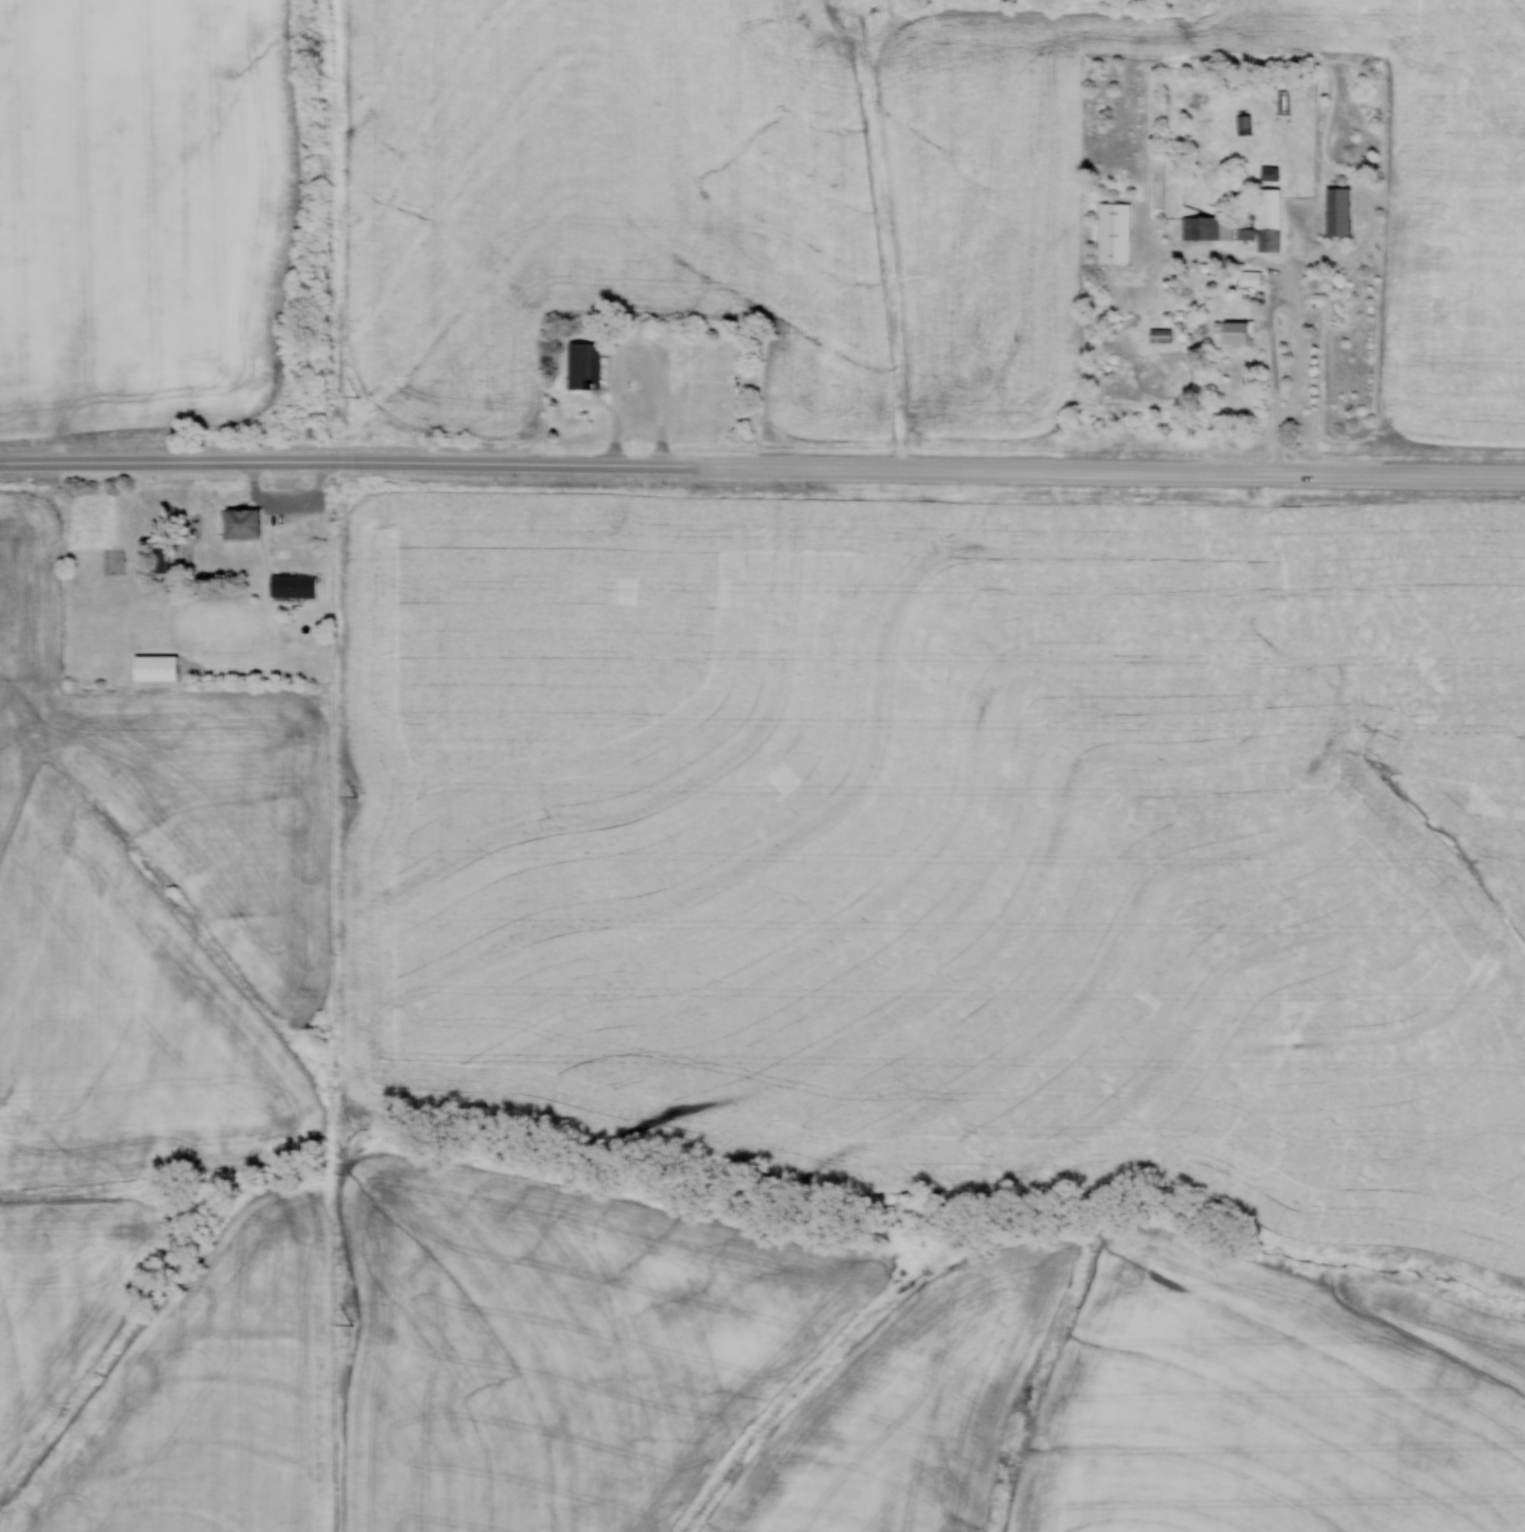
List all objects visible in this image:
building: (1281, 100)
building: (1243, 124)
building: (1269, 172)
building: (1338, 211)
building: (1268, 219)
building: (1204, 228)
building: (1114, 232)
building: (1249, 277)
road: (1272, 305)
building: (1236, 333)
building: (583, 365)
power tower: (357, 394)
road: (347, 462)
road: (1109, 471)
building: (243, 521)
building: (160, 556)
building: (113, 560)
building: (292, 585)
power tower: (354, 795)
power tower: (351, 1322)

